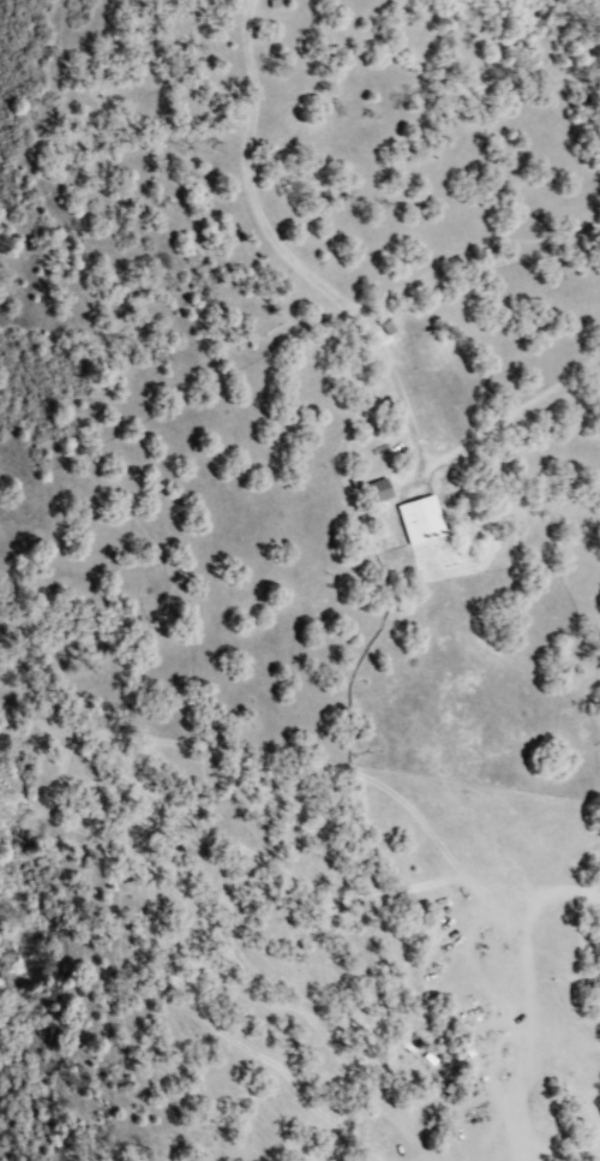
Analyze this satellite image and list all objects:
building: (382, 490)
building: (422, 520)
road: (587, 904)

